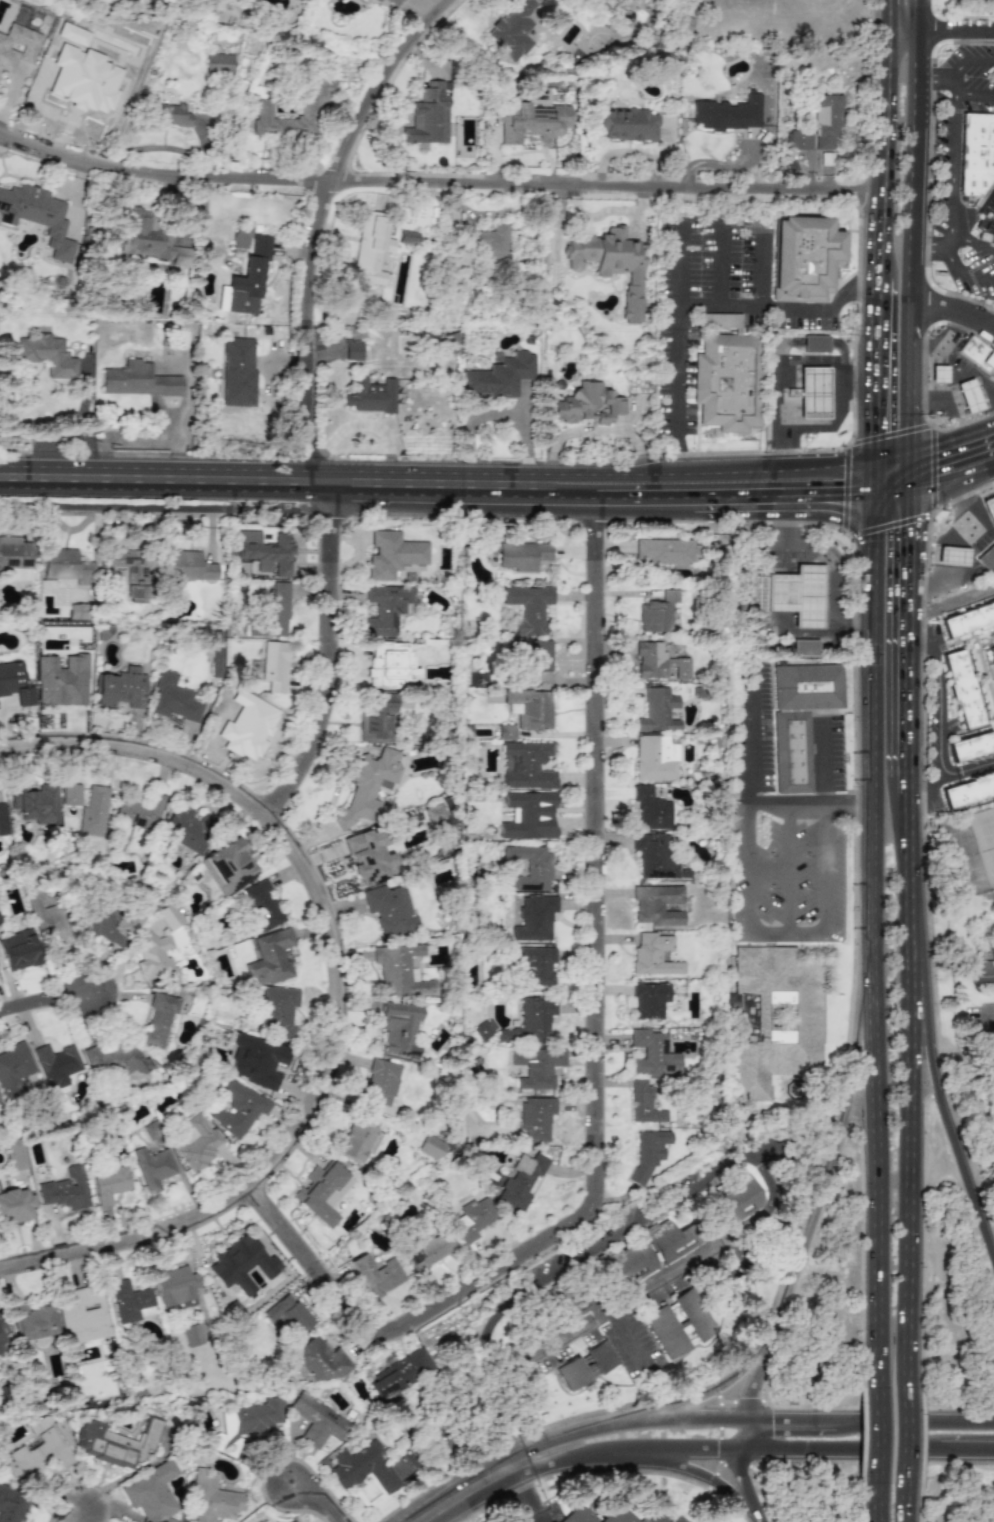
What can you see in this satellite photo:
building: (376, 0)
building: (395, 2)
road: (889, 14)
road: (914, 14)
road: (956, 17)
building: (512, 28)
road: (901, 29)
road: (954, 29)
building: (17, 46)
power tower: (650, 47)
road: (914, 53)
road: (968, 61)
building: (218, 63)
road: (932, 78)
road: (968, 93)
road: (888, 109)
building: (261, 111)
building: (728, 113)
building: (171, 114)
building: (428, 114)
building: (825, 120)
building: (532, 122)
building: (627, 123)
building: (799, 138)
building: (976, 153)
road: (950, 157)
road: (439, 180)
road: (911, 202)
building: (37, 215)
building: (986, 220)
road: (324, 223)
road: (882, 235)
building: (241, 236)
building: (407, 236)
building: (150, 239)
building: (491, 241)
road: (950, 241)
road: (972, 241)
road: (930, 246)
building: (371, 249)
building: (804, 258)
road: (949, 258)
road: (721, 260)
building: (610, 263)
road: (760, 269)
road: (972, 275)
building: (245, 280)
road: (699, 300)
road: (739, 302)
road: (954, 307)
road: (822, 312)
road: (955, 328)
road: (677, 339)
building: (814, 342)
building: (450, 343)
road: (939, 345)
building: (353, 350)
building: (47, 355)
building: (978, 355)
road: (913, 362)
road: (779, 368)
building: (238, 372)
building: (937, 372)
road: (924, 374)
building: (500, 376)
road: (955, 376)
building: (137, 380)
building: (728, 381)
road: (877, 386)
building: (813, 394)
building: (371, 396)
building: (968, 396)
building: (588, 404)
road: (852, 409)
road: (835, 423)
road: (931, 426)
road: (914, 441)
road: (948, 451)
road: (671, 455)
road: (674, 464)
road: (701, 473)
road: (978, 474)
road: (262, 483)
road: (939, 487)
road: (894, 488)
road: (570, 499)
road: (655, 500)
road: (784, 502)
road: (976, 506)
building: (989, 507)
road: (915, 513)
road: (991, 532)
road: (982, 541)
building: (663, 549)
building: (265, 551)
building: (15, 553)
building: (393, 554)
building: (522, 555)
building: (951, 556)
building: (987, 559)
road: (827, 560)
road: (914, 562)
building: (65, 564)
building: (190, 567)
building: (132, 571)
road: (953, 575)
building: (788, 593)
road: (954, 603)
building: (528, 607)
building: (278, 609)
building: (385, 609)
building: (79, 611)
building: (658, 612)
building: (968, 619)
road: (815, 635)
building: (805, 647)
building: (992, 653)
road: (335, 654)
building: (535, 660)
building: (658, 662)
building: (216, 663)
building: (391, 665)
building: (275, 666)
building: (62, 680)
road: (913, 680)
building: (15, 683)
building: (120, 688)
building: (960, 688)
building: (174, 699)
road: (940, 700)
building: (530, 708)
building: (658, 711)
building: (799, 717)
building: (377, 718)
building: (252, 723)
building: (506, 732)
road: (748, 738)
building: (971, 745)
building: (655, 758)
building: (526, 765)
road: (974, 767)
road: (948, 775)
building: (367, 786)
road: (913, 787)
road: (930, 788)
building: (969, 789)
building: (71, 794)
building: (35, 802)
road: (832, 807)
road: (769, 808)
building: (651, 809)
road: (741, 809)
building: (93, 811)
building: (433, 812)
building: (135, 814)
building: (529, 816)
building: (3, 820)
building: (187, 828)
road: (923, 841)
road: (826, 845)
road: (601, 852)
building: (369, 856)
building: (654, 856)
building: (228, 866)
building: (531, 867)
road: (790, 871)
road: (912, 889)
road: (748, 892)
building: (657, 904)
building: (390, 909)
building: (169, 916)
building: (47, 918)
building: (535, 918)
building: (0, 920)
building: (110, 922)
road: (874, 940)
building: (18, 950)
building: (654, 955)
building: (270, 957)
building: (155, 958)
building: (534, 966)
road: (854, 967)
building: (400, 971)
building: (984, 972)
road: (346, 989)
road: (911, 989)
road: (43, 995)
building: (649, 999)
building: (279, 1009)
building: (775, 1017)
building: (159, 1019)
building: (531, 1021)
building: (399, 1028)
building: (484, 1029)
building: (653, 1054)
building: (116, 1057)
building: (256, 1061)
building: (56, 1064)
building: (537, 1067)
building: (14, 1069)
building: (381, 1081)
building: (644, 1103)
building: (238, 1108)
building: (536, 1119)
road: (952, 1122)
building: (151, 1129)
building: (354, 1140)
building: (197, 1143)
building: (431, 1147)
building: (648, 1152)
building: (16, 1154)
building: (153, 1167)
building: (521, 1180)
building: (110, 1183)
building: (65, 1190)
building: (322, 1191)
road: (905, 1195)
building: (739, 1198)
building: (15, 1206)
building: (472, 1219)
road: (922, 1232)
road: (617, 1233)
road: (803, 1233)
building: (672, 1240)
road: (862, 1249)
building: (429, 1250)
building: (628, 1262)
building: (242, 1264)
building: (377, 1275)
building: (177, 1288)
road: (626, 1298)
building: (132, 1301)
building: (567, 1301)
building: (289, 1314)
building: (85, 1315)
building: (33, 1321)
road: (404, 1321)
building: (1, 1322)
building: (679, 1323)
road: (624, 1330)
building: (193, 1335)
building: (2, 1343)
building: (316, 1361)
building: (586, 1365)
building: (400, 1374)
road: (718, 1386)
road: (755, 1413)
building: (318, 1420)
building: (244, 1424)
road: (498, 1427)
road: (921, 1434)
road: (862, 1435)
road: (876, 1435)
road: (901, 1436)
road: (782, 1440)
building: (115, 1442)
building: (326, 1445)
building: (41, 1452)
road: (420, 1452)
road: (550, 1460)
road: (671, 1464)
building: (363, 1468)
road: (472, 1488)
building: (152, 1493)
road: (524, 1494)
road: (325, 1496)
building: (213, 1499)
road: (875, 1501)
road: (902, 1501)
road: (921, 1501)
road: (862, 1502)
building: (12, 1504)
road: (80, 1514)
building: (611, 1515)
building: (291, 1521)

